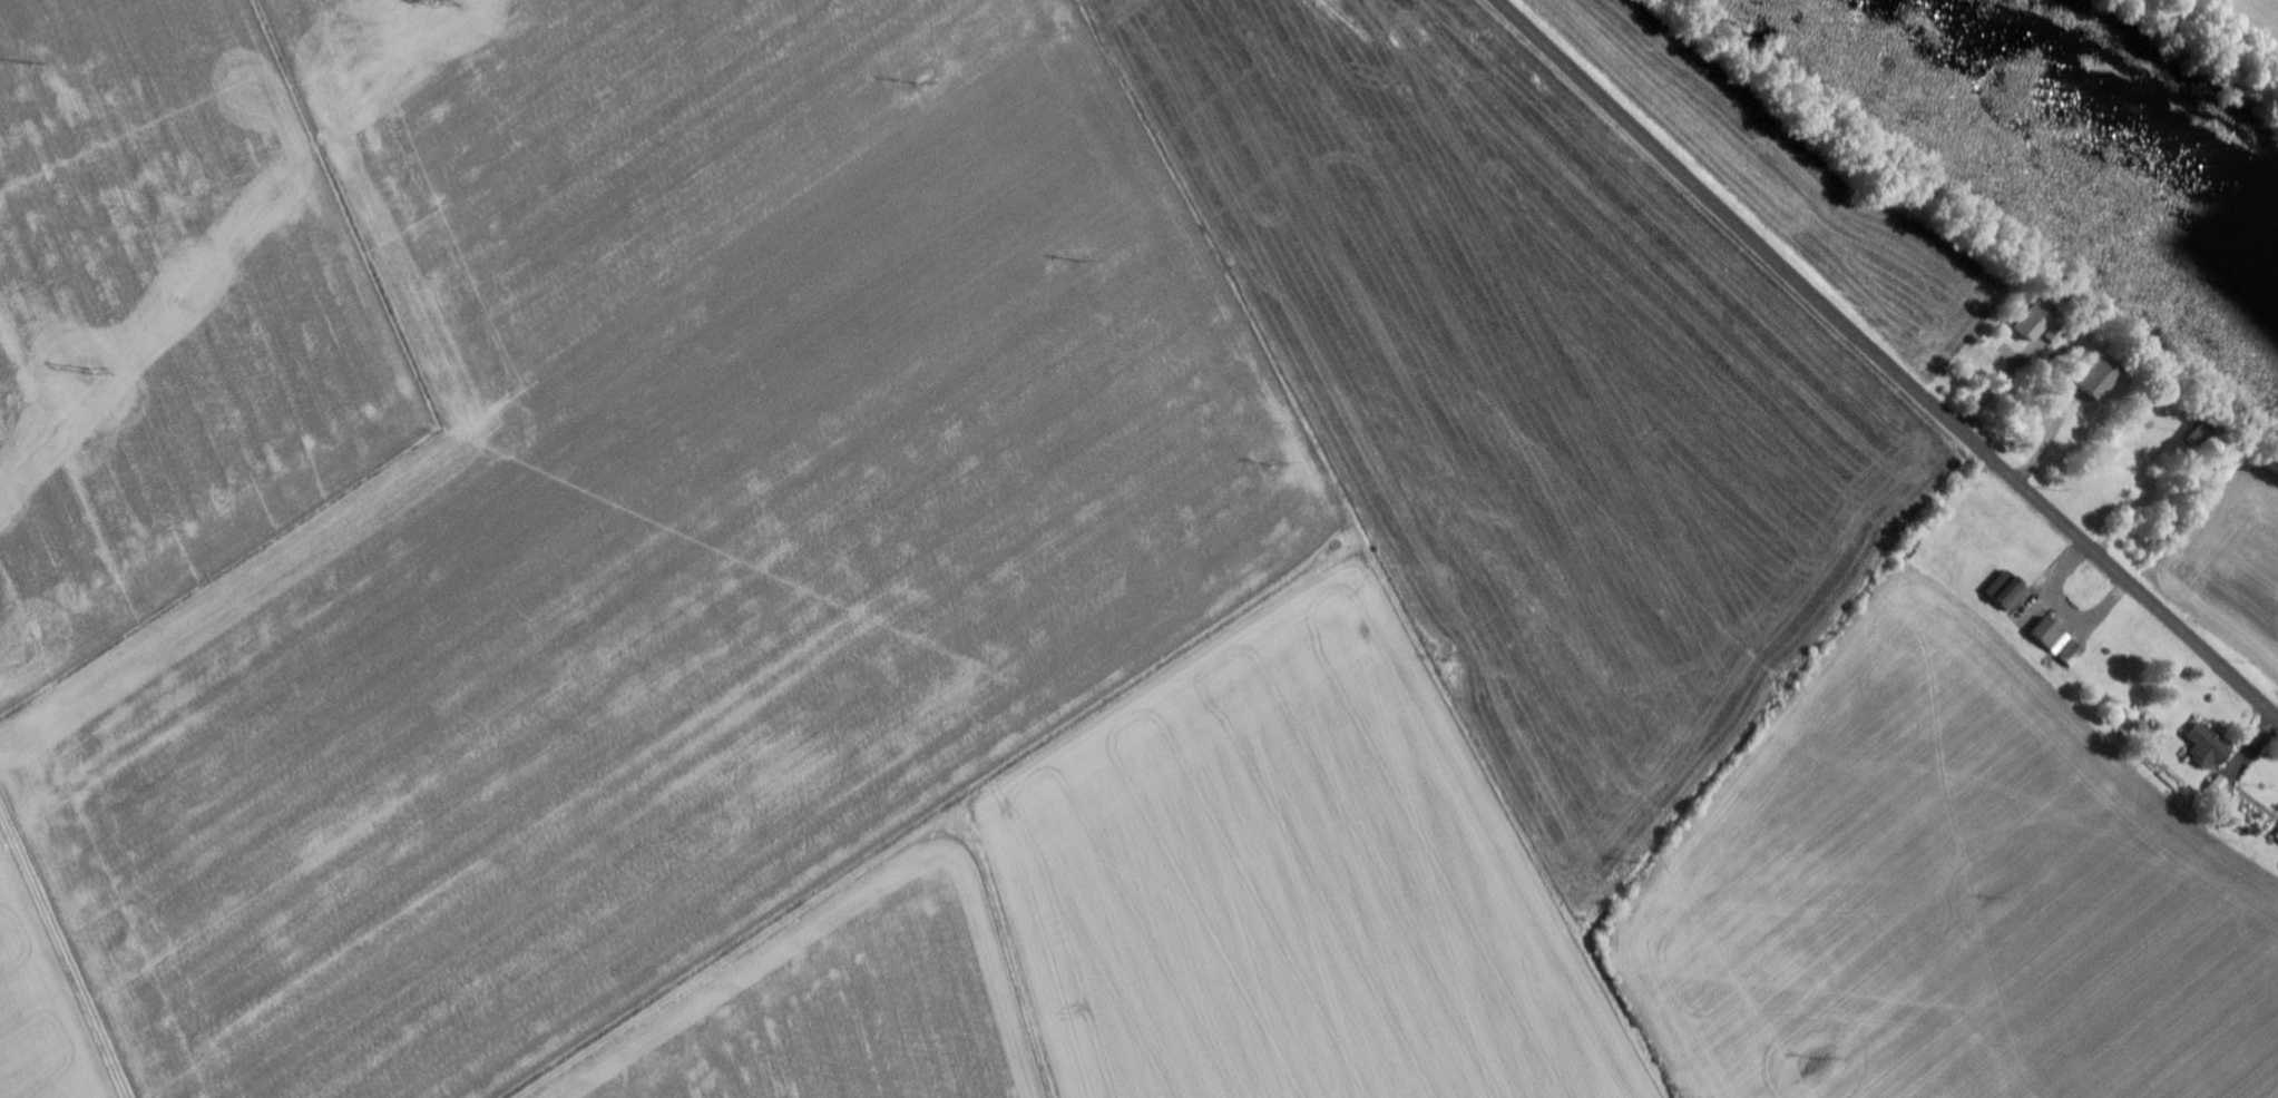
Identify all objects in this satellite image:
river: (2073, 143)
building: (2039, 320)
road: (1885, 362)
building: (2060, 637)
building: (2210, 745)

